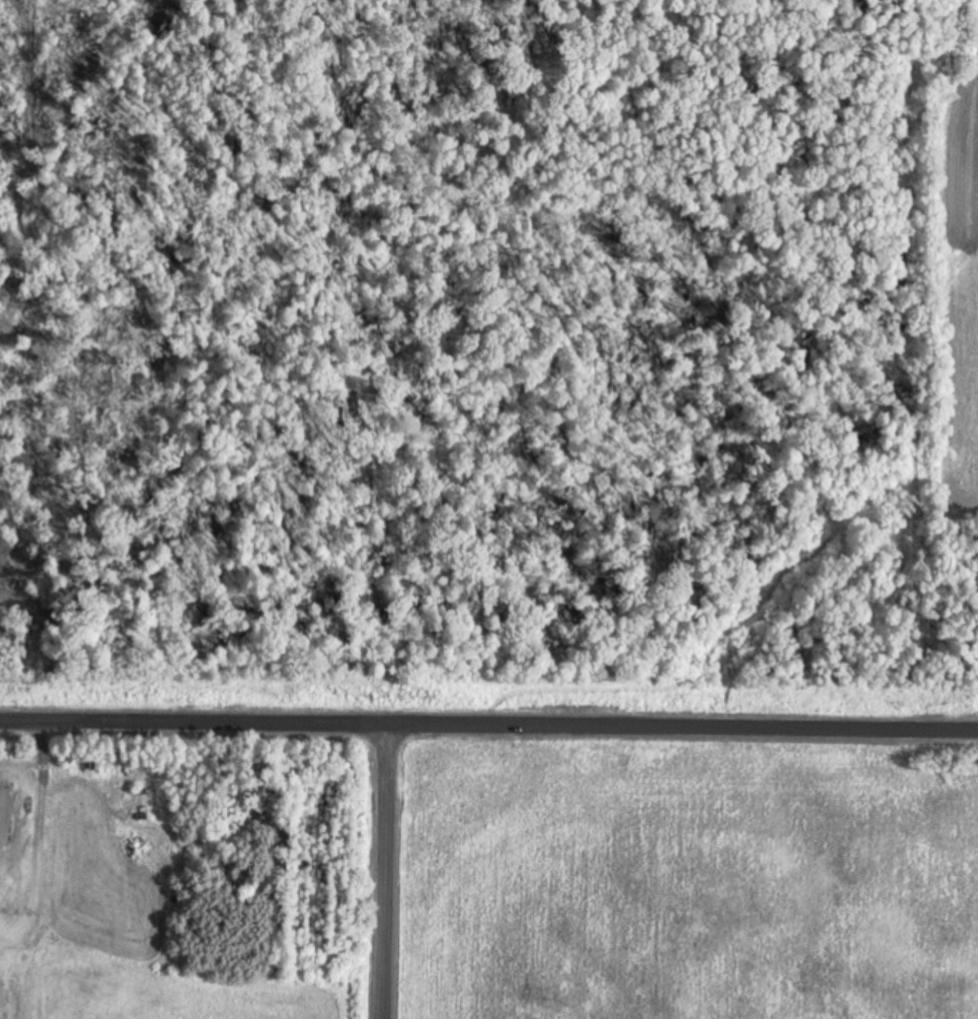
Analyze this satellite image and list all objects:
road: (488, 742)
building: (7, 816)
road: (374, 880)

